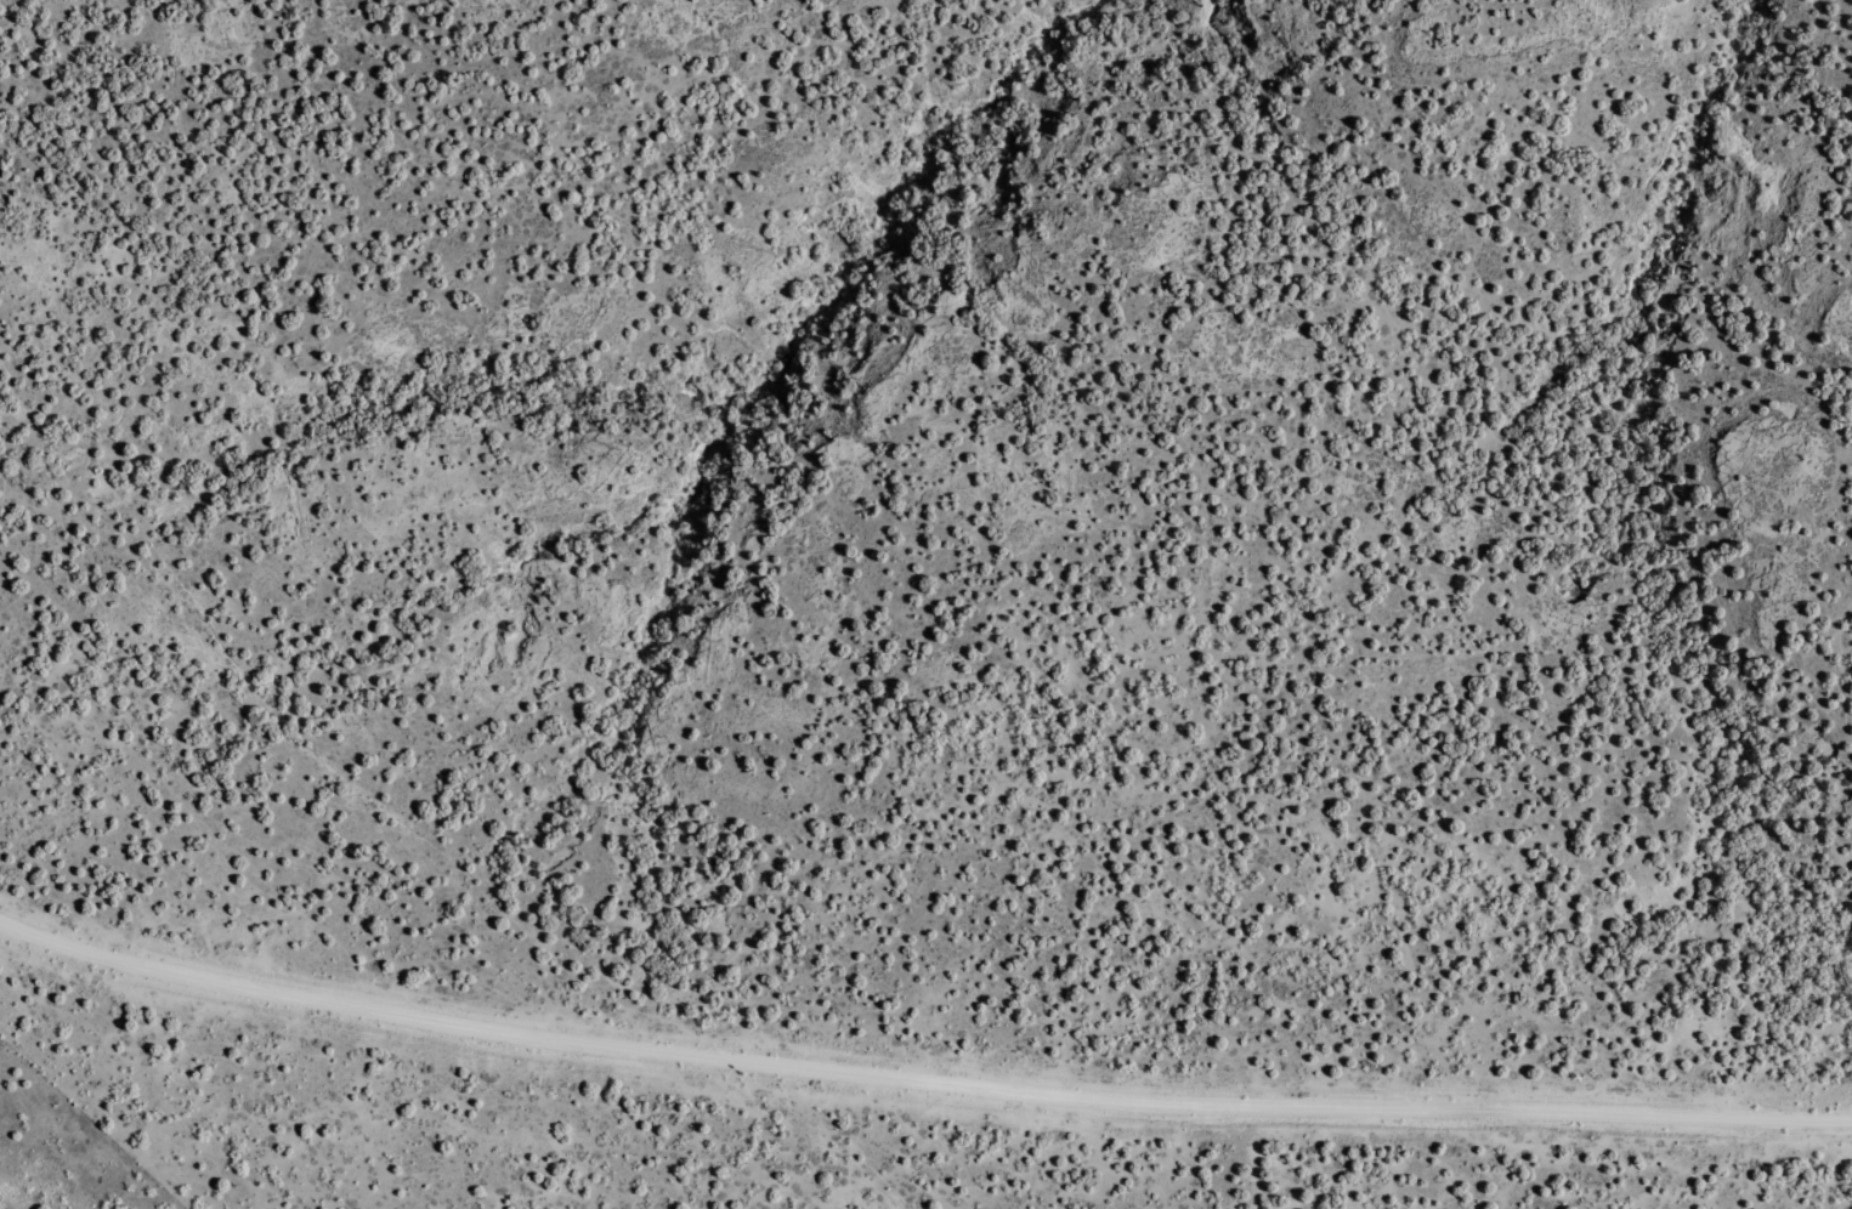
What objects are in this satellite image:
road: (912, 1096)

